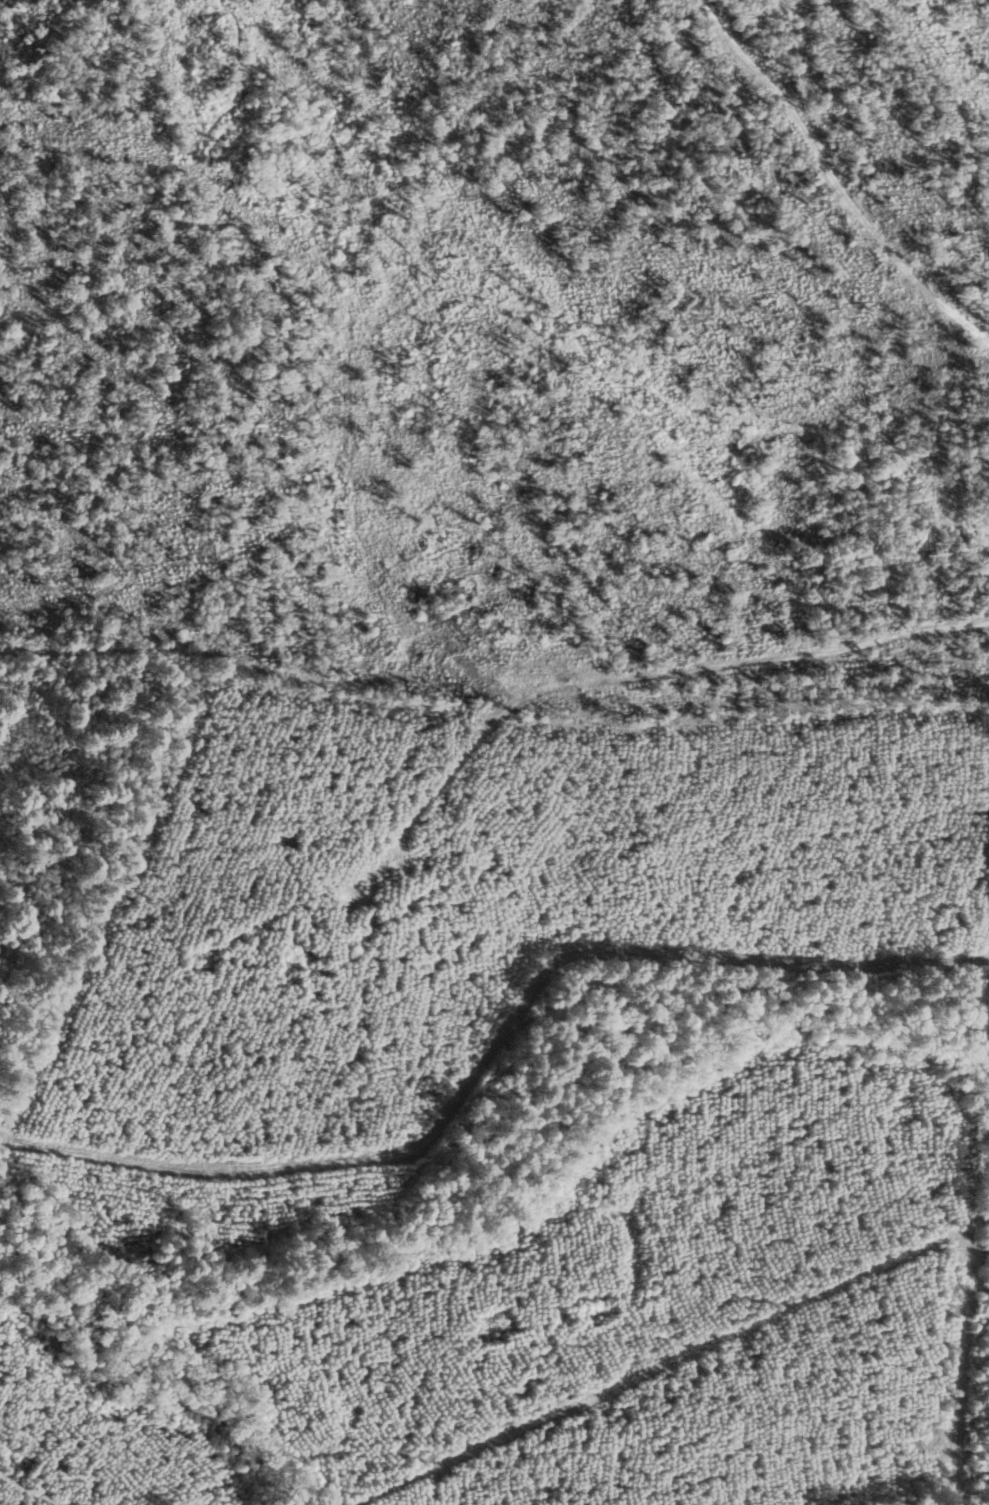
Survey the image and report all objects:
road: (984, 1223)

